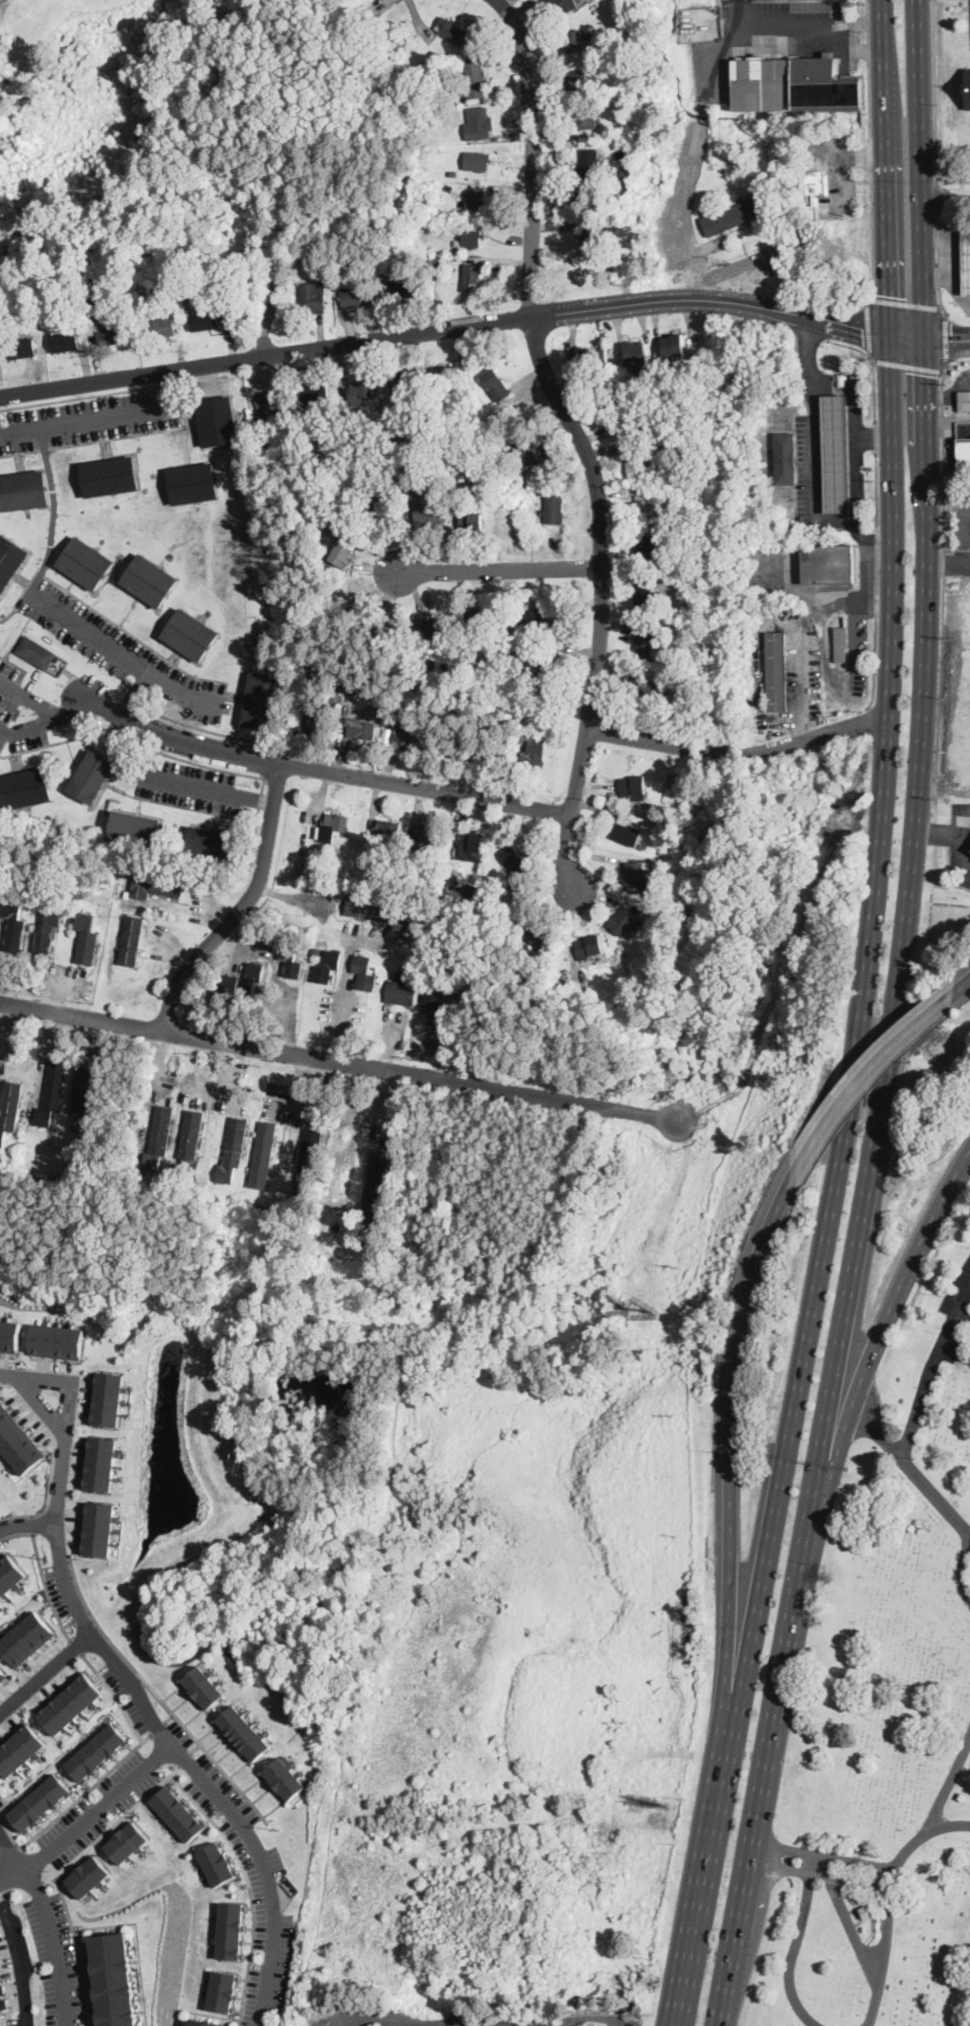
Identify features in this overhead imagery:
road: (376, 4)
road: (867, 5)
building: (561, 6)
road: (780, 19)
road: (857, 22)
building: (453, 31)
road: (868, 38)
building: (574, 40)
building: (427, 65)
building: (476, 79)
building: (579, 81)
building: (794, 86)
building: (967, 87)
road: (933, 92)
road: (869, 103)
building: (586, 116)
building: (480, 122)
road: (532, 153)
road: (870, 158)
building: (476, 160)
building: (590, 163)
road: (920, 169)
building: (453, 171)
building: (816, 182)
building: (624, 183)
road: (937, 199)
road: (945, 201)
building: (476, 202)
building: (736, 216)
building: (610, 228)
road: (946, 230)
building: (470, 238)
building: (591, 241)
road: (873, 246)
building: (466, 251)
building: (416, 258)
building: (435, 260)
building: (966, 261)
gas station: (966, 261)
road: (732, 266)
road: (940, 267)
road: (933, 273)
road: (945, 274)
building: (472, 278)
building: (405, 287)
traffic signals: (888, 294)
building: (358, 297)
building: (313, 298)
road: (651, 302)
road: (906, 302)
road: (682, 314)
building: (234, 316)
building: (204, 320)
road: (829, 325)
building: (161, 327)
road: (867, 328)
road: (537, 329)
building: (112, 334)
road: (810, 334)
traffic signals: (863, 334)
road: (908, 337)
road: (947, 338)
road: (947, 338)
traffic signals: (951, 338)
building: (64, 342)
building: (674, 346)
road: (326, 347)
building: (21, 348)
road: (367, 352)
building: (636, 353)
building: (594, 357)
road: (873, 365)
road: (907, 365)
traffic signals: (925, 374)
building: (448, 376)
building: (403, 383)
building: (496, 385)
road: (58, 387)
road: (167, 389)
building: (361, 391)
road: (106, 394)
building: (316, 394)
building: (276, 399)
road: (855, 400)
building: (506, 401)
building: (964, 401)
building: (409, 402)
building: (379, 404)
building: (264, 414)
building: (618, 418)
parking lot: (87, 420)
building: (218, 421)
road: (84, 422)
building: (348, 435)
road: (876, 437)
building: (353, 454)
building: (836, 454)
gas station: (836, 454)
building: (964, 455)
building: (537, 458)
building: (785, 458)
road: (813, 461)
building: (637, 464)
building: (110, 477)
road: (858, 481)
building: (193, 484)
building: (24, 491)
building: (646, 507)
building: (429, 510)
building: (554, 510)
road: (54, 512)
building: (378, 513)
building: (472, 522)
parking lot: (963, 535)
building: (344, 548)
building: (652, 549)
building: (10, 560)
building: (85, 563)
building: (825, 563)
road: (948, 563)
road: (944, 567)
road: (500, 568)
building: (150, 580)
road: (876, 581)
building: (343, 595)
road: (601, 596)
building: (648, 597)
building: (480, 618)
building: (536, 622)
building: (433, 628)
building: (390, 631)
building: (190, 634)
building: (442, 641)
building: (645, 642)
building: (841, 644)
parking lot: (118, 648)
building: (36, 652)
road: (121, 656)
building: (467, 657)
building: (432, 662)
building: (419, 663)
building: (551, 666)
building: (776, 671)
road: (801, 686)
building: (540, 689)
building: (645, 690)
road: (26, 696)
road: (135, 697)
building: (263, 701)
road: (131, 703)
road: (74, 707)
parking lot: (24, 711)
building: (541, 714)
road: (52, 718)
building: (315, 720)
building: (360, 728)
road: (206, 730)
road: (23, 731)
building: (387, 735)
building: (406, 736)
building: (447, 746)
road: (739, 752)
building: (490, 754)
building: (533, 755)
road: (179, 759)
road: (268, 763)
road: (325, 770)
building: (91, 776)
parking lot: (187, 784)
road: (191, 785)
building: (634, 788)
building: (24, 789)
road: (257, 799)
building: (334, 826)
building: (135, 829)
building: (387, 829)
building: (626, 832)
road: (952, 835)
building: (428, 841)
building: (211, 844)
building: (470, 847)
building: (514, 859)
building: (301, 866)
building: (367, 867)
building: (636, 876)
building: (661, 883)
building: (159, 887)
building: (453, 888)
building: (128, 893)
building: (468, 898)
building: (489, 898)
road: (242, 905)
road: (875, 907)
building: (520, 908)
building: (378, 913)
building: (626, 921)
building: (14, 926)
building: (532, 930)
building: (47, 932)
building: (87, 939)
building: (132, 941)
building: (590, 947)
building: (621, 948)
building: (317, 949)
road: (903, 952)
building: (290, 959)
building: (327, 967)
building: (364, 972)
building: (408, 975)
building: (244, 981)
building: (436, 985)
road: (345, 986)
road: (962, 988)
building: (561, 989)
building: (478, 991)
building: (401, 993)
road: (447, 1041)
road: (19, 1060)
road: (339, 1060)
road: (156, 1062)
road: (866, 1076)
road: (298, 1078)
road: (225, 1079)
building: (52, 1094)
building: (82, 1098)
road: (388, 1103)
building: (10, 1109)
building: (159, 1138)
building: (191, 1144)
building: (233, 1150)
building: (263, 1154)
building: (309, 1163)
building: (373, 1196)
building: (259, 1206)
building: (330, 1235)
building: (344, 1241)
road: (962, 1297)
road: (962, 1314)
parking lot: (954, 1316)
building: (8, 1334)
building: (55, 1339)
road: (873, 1350)
road: (70, 1381)
building: (108, 1398)
road: (913, 1431)
road: (879, 1432)
building: (18, 1442)
building: (102, 1463)
road: (731, 1482)
road: (27, 1523)
building: (100, 1527)
power tower: (45, 1558)
road: (60, 1559)
building: (11, 1574)
road: (963, 1575)
road: (47, 1587)
building: (1, 1603)
road: (83, 1615)
road: (70, 1622)
building: (27, 1636)
road: (77, 1646)
road: (46, 1673)
building: (3, 1674)
building: (206, 1687)
road: (159, 1693)
road: (117, 1694)
building: (70, 1702)
park: (888, 1704)
road: (165, 1723)
building: (246, 1735)
building: (19, 1748)
building: (96, 1752)
building: (285, 1777)
road: (86, 1790)
road: (762, 1792)
road: (4, 1802)
building: (38, 1802)
building: (178, 1812)
road: (90, 1815)
road: (113, 1824)
road: (950, 1825)
power tower: (279, 1828)
road: (9, 1833)
building: (126, 1841)
road: (9, 1851)
road: (895, 1860)
building: (216, 1862)
road: (265, 1871)
building: (86, 1876)
road: (248, 1887)
road: (2, 1894)
building: (864, 1911)
road: (699, 1914)
road: (889, 1926)
building: (230, 1929)
road: (52, 1943)
road: (861, 1943)
road: (793, 1947)
road: (75, 1948)
road: (19, 1960)
building: (114, 1979)
building: (0, 1990)
building: (222, 1990)
road: (596, 2018)
parking lot: (457, 2019)
parking lot: (626, 2021)
road: (396, 2022)
building: (200, 2023)
road: (439, 2024)
road: (433, 2025)
road: (471, 2025)
road: (501, 2025)
building: (584, 2025)

